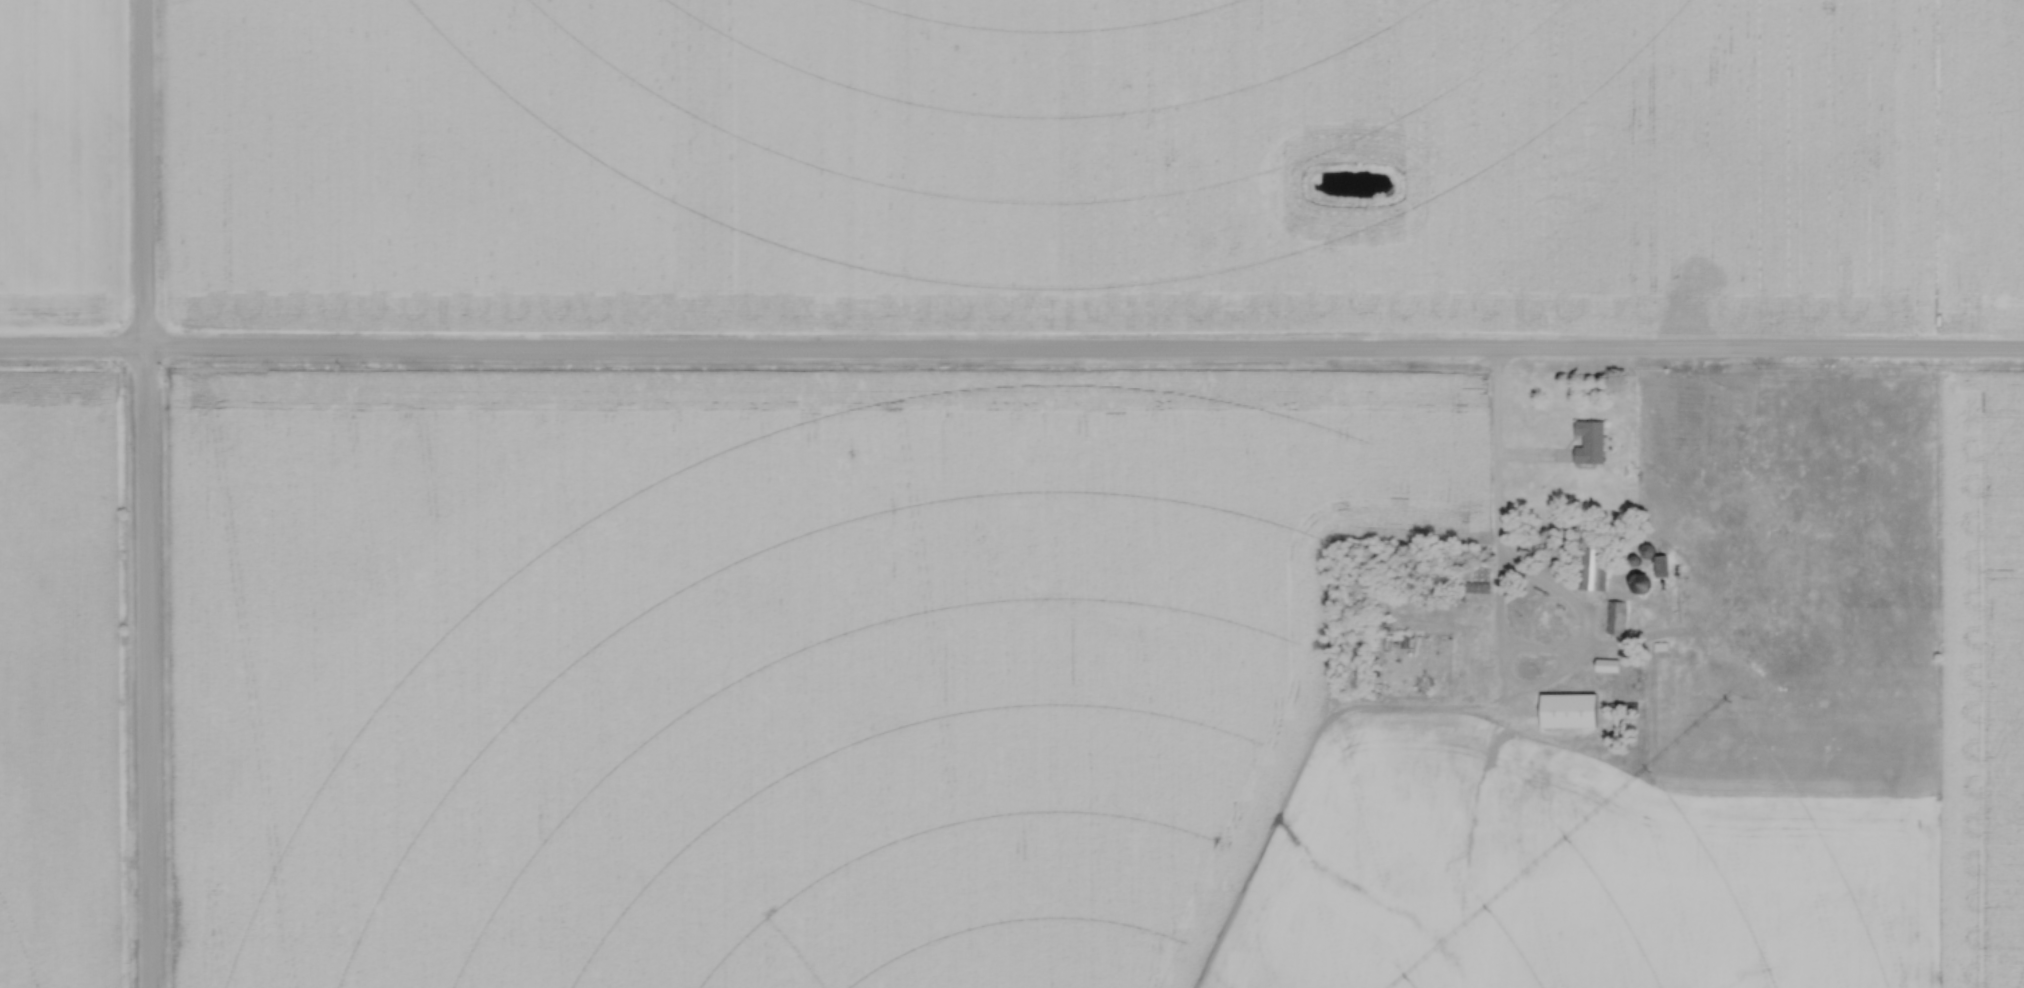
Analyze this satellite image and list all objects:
road: (1012, 352)
building: (1588, 441)
road: (1528, 458)
road: (143, 493)
road: (1493, 512)
building: (1659, 565)
building: (1591, 568)
building: (1472, 586)
building: (1614, 617)
building: (1606, 665)
building: (1621, 708)
building: (1567, 709)

